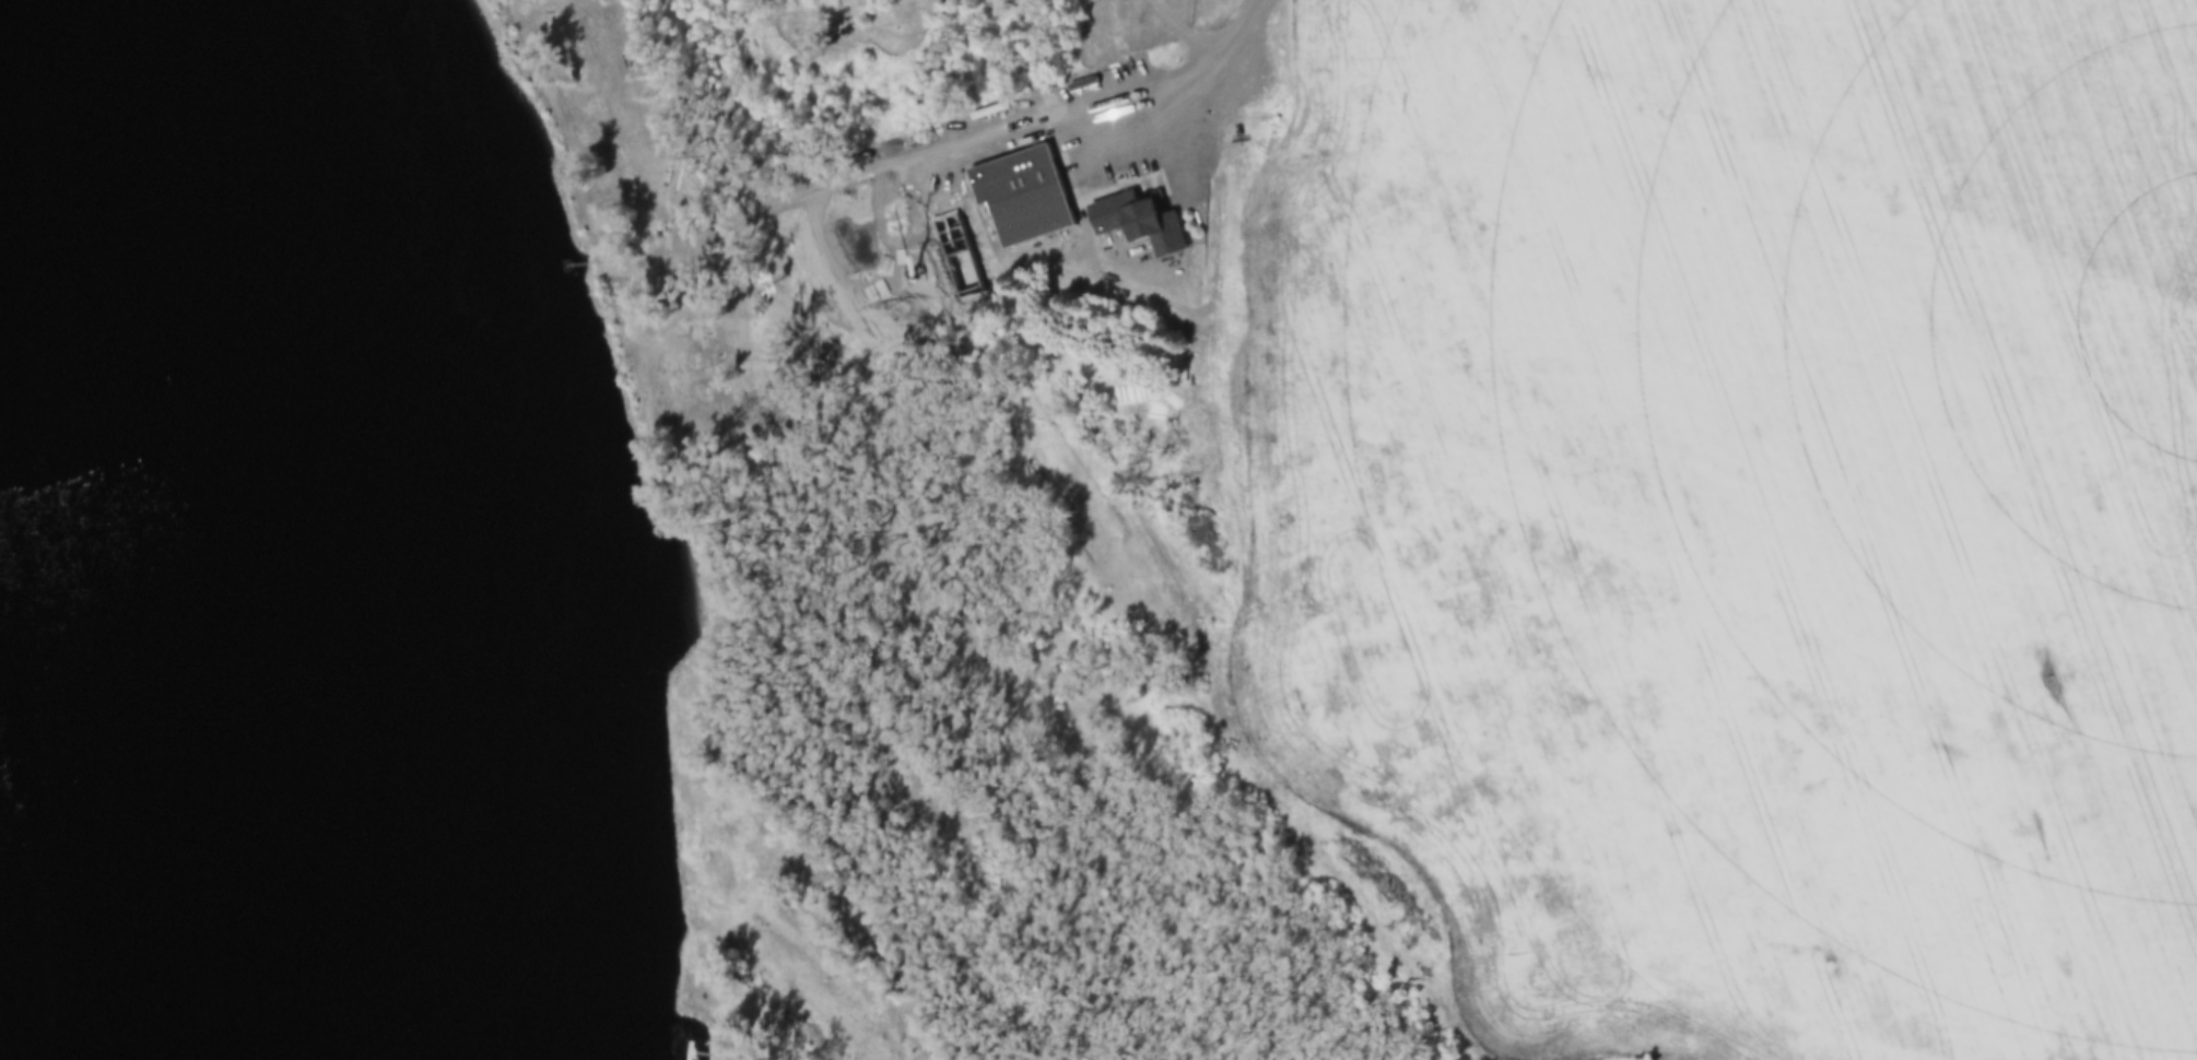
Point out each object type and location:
road: (1167, 27)
park: (774, 79)
road: (954, 149)
building: (1020, 196)
building: (1139, 224)
road: (1657, 298)
river: (349, 516)

